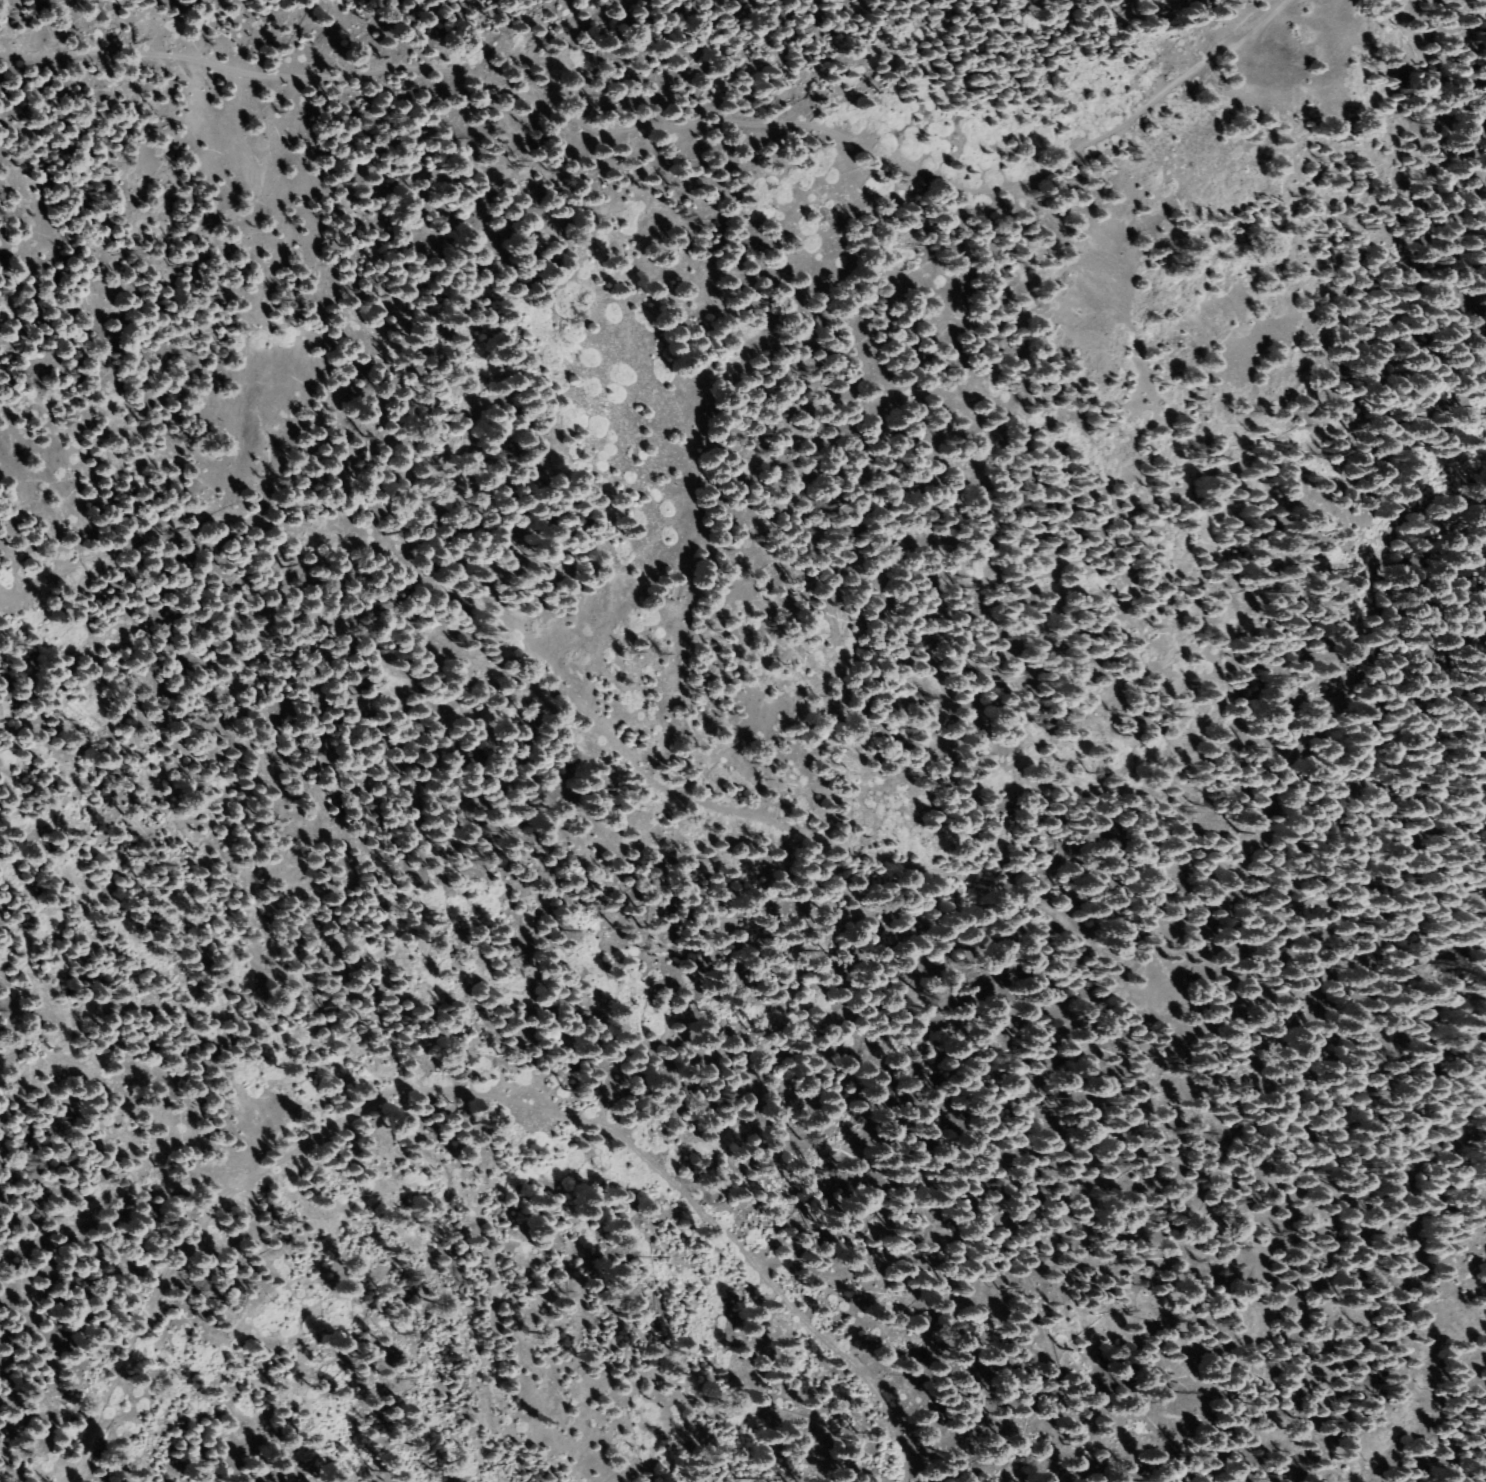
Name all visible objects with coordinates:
road: (676, 129)
road: (517, 632)
road: (474, 1094)

